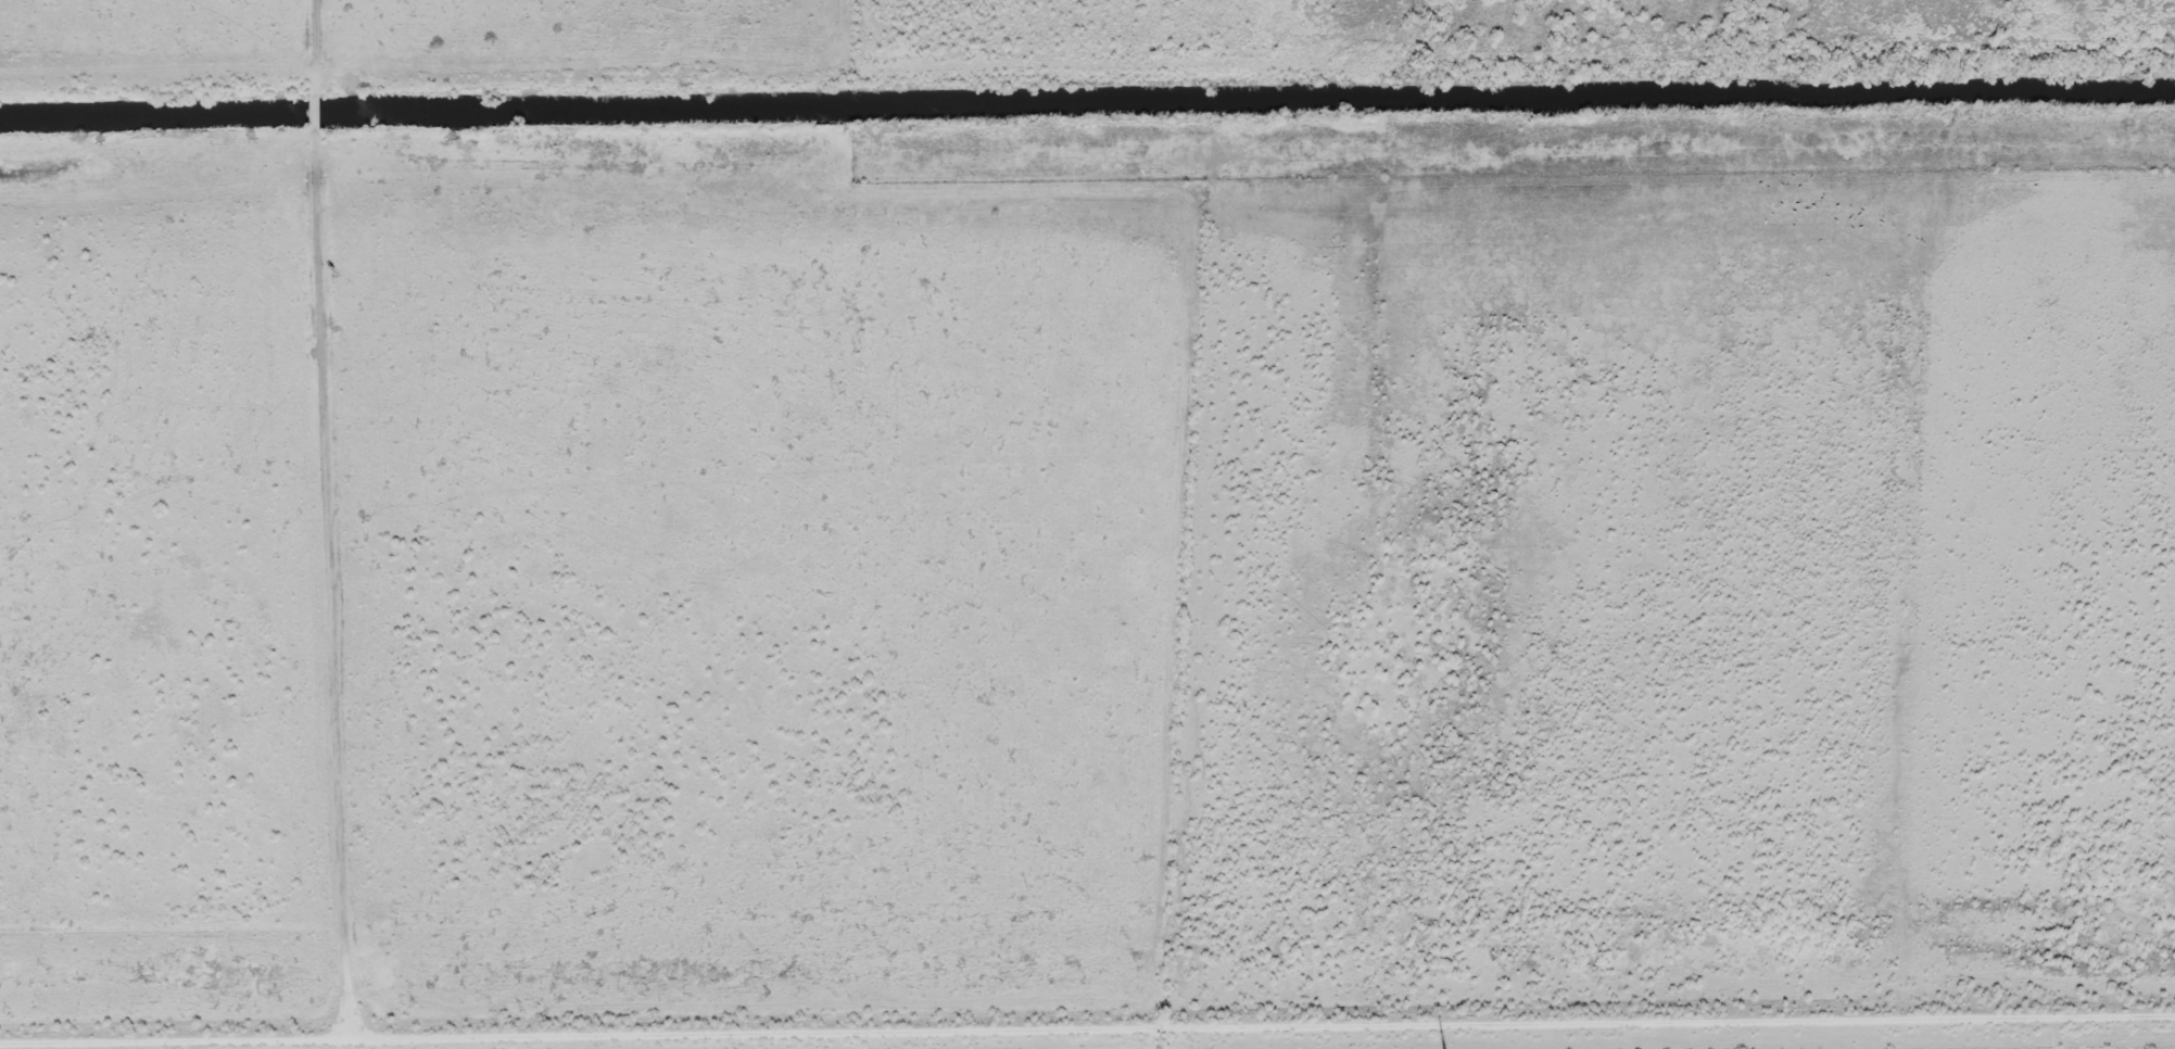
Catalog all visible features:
road: (1087, 1028)

